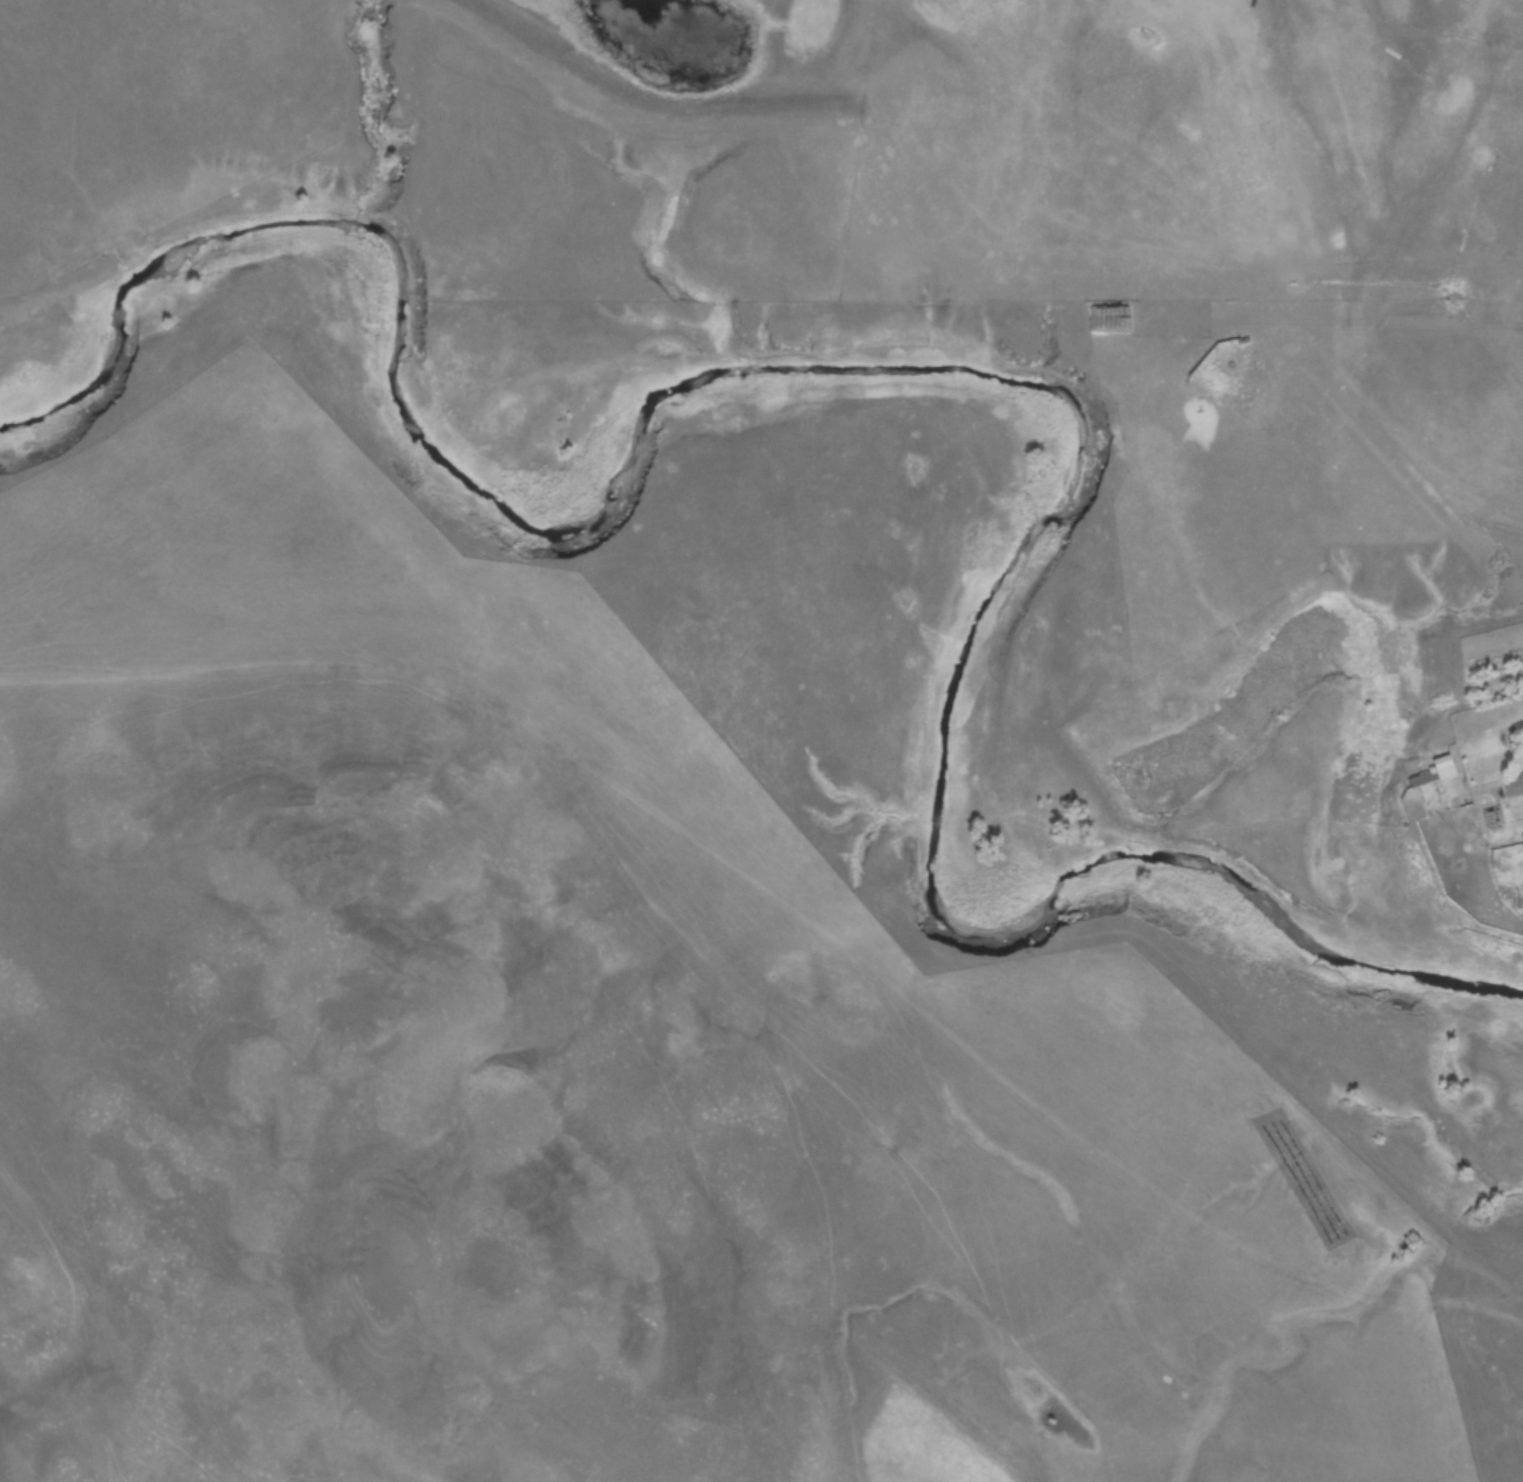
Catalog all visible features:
building: (1418, 779)
building: (1510, 787)

